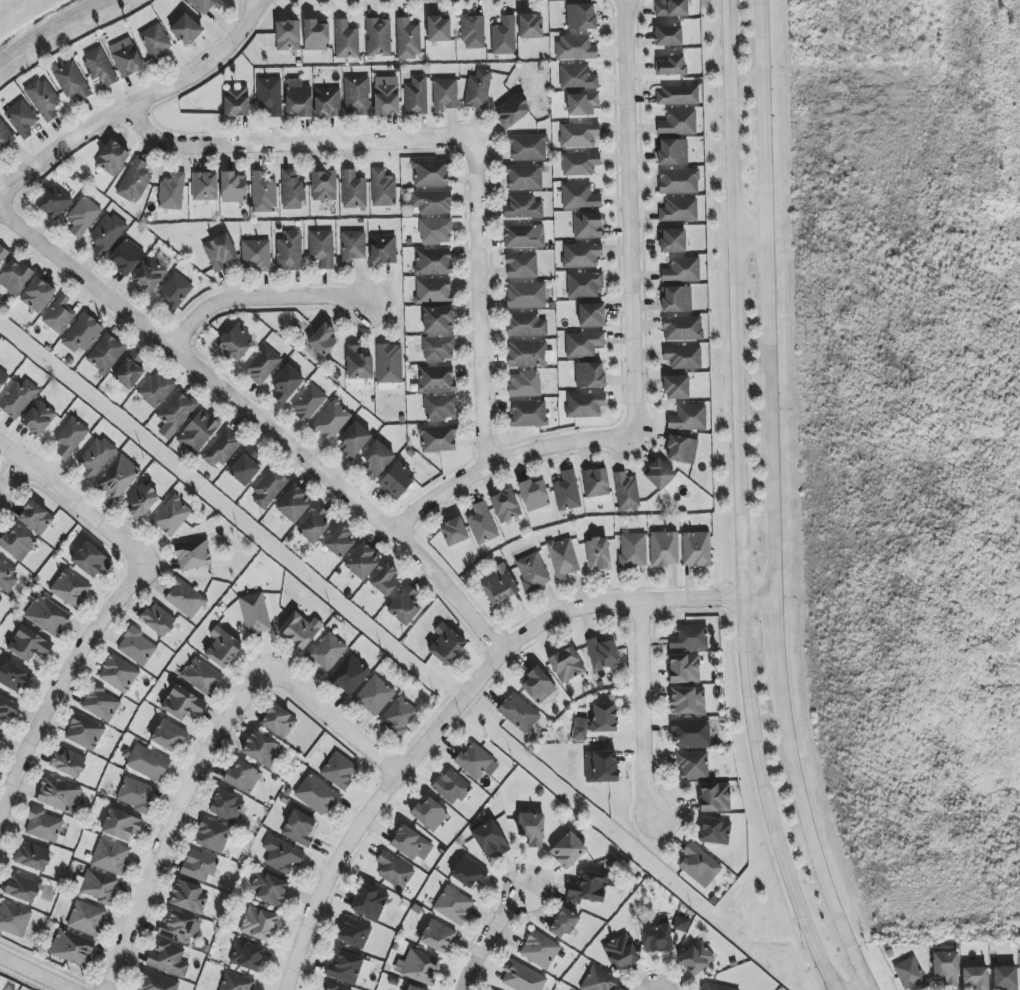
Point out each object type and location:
road: (268, 2)
building: (206, 5)
building: (671, 8)
building: (580, 16)
building: (531, 26)
building: (185, 29)
building: (439, 29)
building: (473, 32)
building: (288, 35)
building: (316, 35)
building: (503, 36)
building: (668, 36)
building: (378, 37)
building: (408, 38)
building: (346, 40)
building: (156, 42)
building: (575, 48)
building: (127, 60)
building: (99, 66)
building: (672, 66)
building: (577, 77)
building: (70, 80)
building: (478, 89)
building: (445, 94)
building: (386, 95)
building: (416, 95)
building: (676, 95)
building: (269, 96)
building: (357, 96)
building: (298, 98)
building: (43, 99)
building: (236, 102)
building: (327, 102)
building: (582, 103)
building: (511, 111)
road: (140, 112)
building: (21, 118)
building: (678, 122)
building: (578, 135)
building: (5, 136)
building: (528, 147)
building: (672, 152)
road: (299, 153)
building: (112, 158)
building: (579, 163)
building: (430, 173)
building: (524, 177)
building: (135, 181)
building: (678, 181)
building: (324, 185)
building: (204, 186)
building: (233, 187)
building: (382, 188)
building: (353, 190)
building: (292, 191)
building: (172, 192)
building: (263, 192)
building: (579, 196)
building: (54, 202)
building: (431, 202)
building: (523, 207)
building: (679, 210)
building: (83, 216)
road: (635, 223)
building: (587, 225)
building: (435, 231)
building: (106, 234)
building: (523, 236)
building: (672, 240)
building: (352, 246)
building: (322, 248)
building: (383, 249)
building: (289, 251)
building: (219, 252)
building: (3, 254)
building: (255, 255)
building: (581, 255)
building: (126, 257)
building: (432, 261)
building: (521, 265)
building: (682, 270)
building: (152, 272)
building: (15, 276)
building: (584, 284)
building: (433, 290)
building: (175, 291)
building: (37, 294)
building: (526, 295)
building: (676, 299)
road: (768, 299)
road: (266, 306)
road: (485, 313)
building: (59, 315)
building: (591, 315)
building: (438, 320)
building: (526, 325)
building: (682, 328)
building: (81, 334)
building: (322, 340)
building: (236, 343)
building: (583, 344)
building: (438, 349)
building: (105, 353)
building: (527, 354)
building: (683, 357)
building: (358, 363)
building: (389, 363)
building: (263, 365)
building: (129, 370)
building: (589, 375)
building: (3, 378)
building: (436, 379)
building: (286, 384)
building: (524, 384)
building: (676, 387)
building: (156, 389)
building: (18, 398)
building: (308, 402)
building: (584, 405)
building: (440, 407)
building: (175, 414)
building: (528, 414)
building: (38, 418)
building: (688, 418)
building: (331, 420)
road: (262, 424)
building: (197, 432)
building: (70, 437)
building: (438, 438)
building: (354, 440)
building: (222, 448)
building: (681, 449)
building: (96, 457)
building: (376, 460)
building: (245, 467)
road: (511, 468)
building: (659, 474)
building: (119, 477)
building: (397, 479)
road: (14, 483)
building: (595, 483)
building: (269, 488)
building: (567, 491)
building: (626, 491)
building: (533, 495)
building: (142, 501)
road: (740, 502)
building: (294, 504)
building: (505, 505)
road: (75, 507)
building: (171, 516)
building: (36, 517)
building: (314, 524)
building: (482, 524)
building: (453, 532)
building: (339, 541)
building: (17, 543)
building: (664, 549)
building: (696, 549)
building: (633, 550)
building: (598, 553)
building: (193, 554)
building: (563, 557)
building: (91, 560)
building: (362, 561)
building: (532, 572)
building: (7, 575)
building: (385, 580)
building: (499, 585)
building: (70, 588)
building: (0, 598)
building: (185, 598)
building: (404, 606)
building: (254, 614)
building: (47, 615)
building: (157, 620)
building: (300, 630)
road: (776, 635)
building: (689, 637)
building: (28, 644)
building: (446, 644)
building: (136, 646)
building: (222, 647)
building: (327, 651)
building: (602, 653)
building: (566, 664)
building: (684, 668)
building: (118, 674)
building: (349, 674)
building: (201, 676)
building: (15, 677)
building: (538, 686)
road: (59, 688)
building: (374, 696)
building: (686, 700)
building: (100, 703)
building: (182, 703)
road: (471, 705)
building: (7, 708)
road: (644, 711)
building: (519, 713)
building: (398, 716)
building: (604, 717)
building: (279, 721)
building: (579, 729)
road: (336, 731)
building: (84, 732)
building: (690, 733)
building: (1, 735)
building: (168, 735)
building: (261, 749)
building: (476, 762)
building: (68, 763)
building: (147, 763)
building: (602, 765)
building: (692, 765)
building: (339, 770)
building: (242, 777)
building: (451, 787)
building: (59, 794)
building: (136, 794)
building: (316, 795)
building: (714, 797)
building: (226, 806)
building: (429, 814)
road: (171, 822)
building: (43, 825)
building: (121, 825)
building: (299, 828)
building: (531, 828)
building: (714, 831)
road: (810, 834)
building: (213, 835)
building: (490, 839)
building: (407, 842)
building: (568, 850)
building: (281, 854)
building: (33, 856)
building: (110, 856)
building: (199, 865)
building: (699, 865)
building: (394, 870)
building: (468, 873)
building: (98, 886)
building: (22, 888)
building: (268, 888)
building: (589, 888)
building: (188, 897)
building: (369, 901)
building: (453, 905)
building: (86, 918)
building: (14, 919)
building: (258, 923)
building: (563, 923)
building: (681, 924)
building: (179, 927)
building: (354, 933)
building: (437, 936)
road: (498, 939)
building: (657, 939)
building: (72, 948)
building: (540, 949)
building: (620, 952)
building: (247, 955)
building: (696, 958)
building: (168, 959)
building: (418, 966)
building: (946, 966)
building: (345, 968)
road: (33, 973)
building: (909, 973)
building: (522, 977)
building: (975, 978)
building: (1005, 978)
building: (600, 980)
building: (157, 982)
building: (236, 982)
building: (335, 987)
building: (714, 987)
building: (413, 988)

